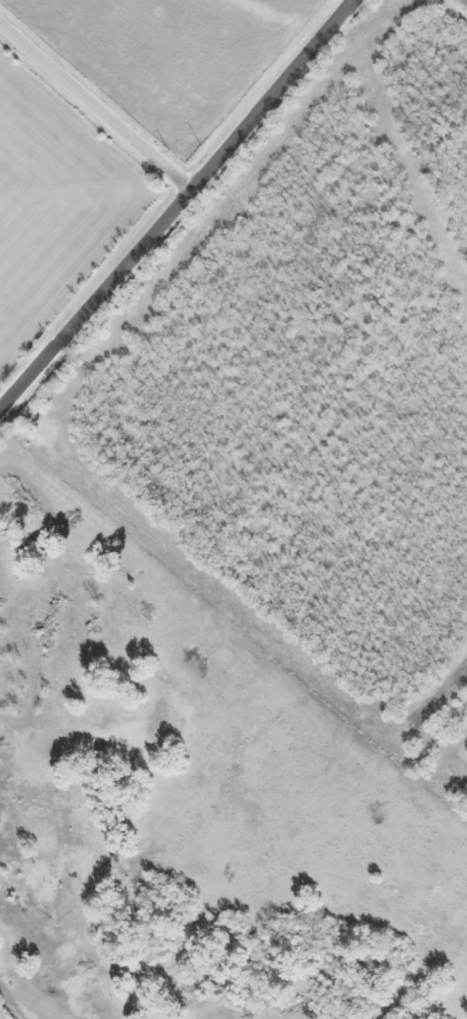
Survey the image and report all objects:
road: (97, 103)
road: (177, 207)

